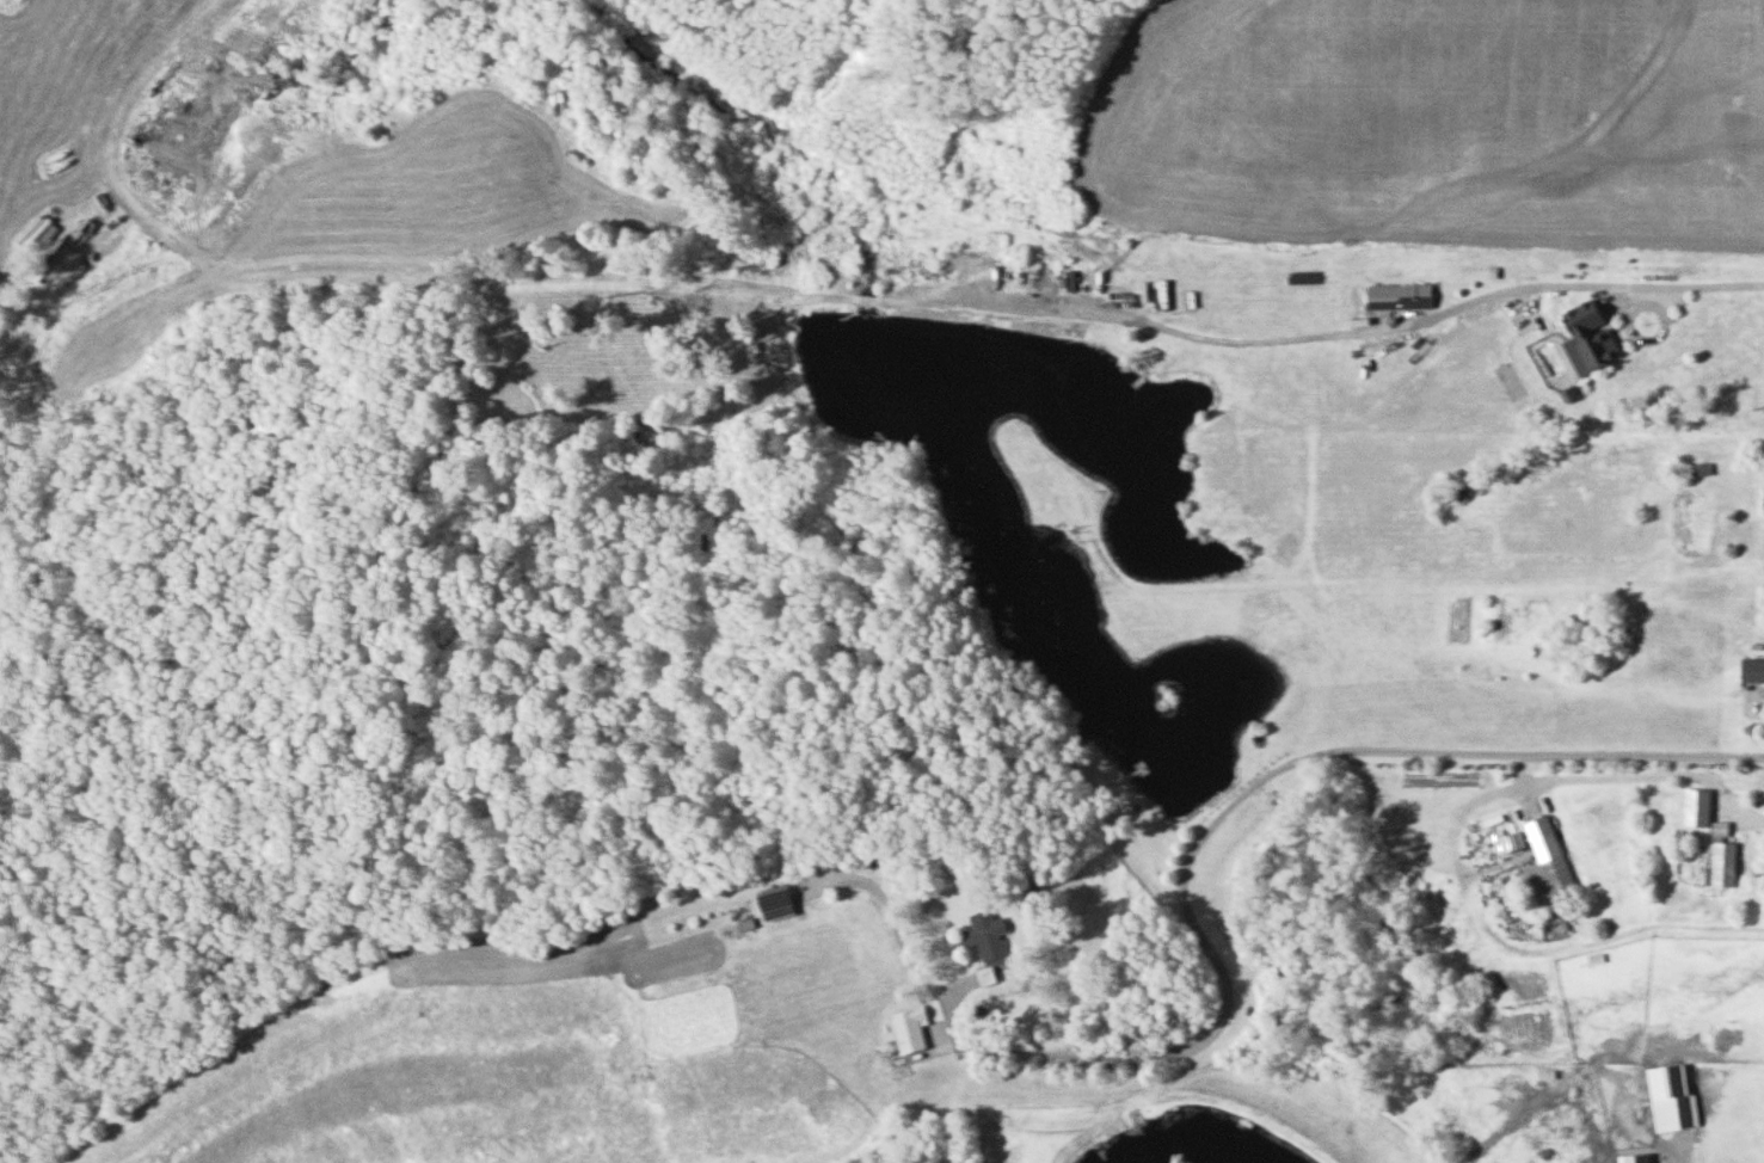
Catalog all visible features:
crop: (787, 12)
road: (815, 20)
crop: (1426, 119)
road: (1560, 283)
building: (1399, 295)
building: (1590, 337)
building: (1695, 467)
building: (1763, 498)
building: (1752, 669)
road: (1647, 787)
building: (1697, 806)
road: (1227, 808)
building: (1723, 863)
building: (1545, 878)
building: (773, 897)
building: (988, 934)
building: (985, 976)
building: (906, 1029)
building: (1671, 1097)
road: (1679, 1146)
building: (1636, 1158)

